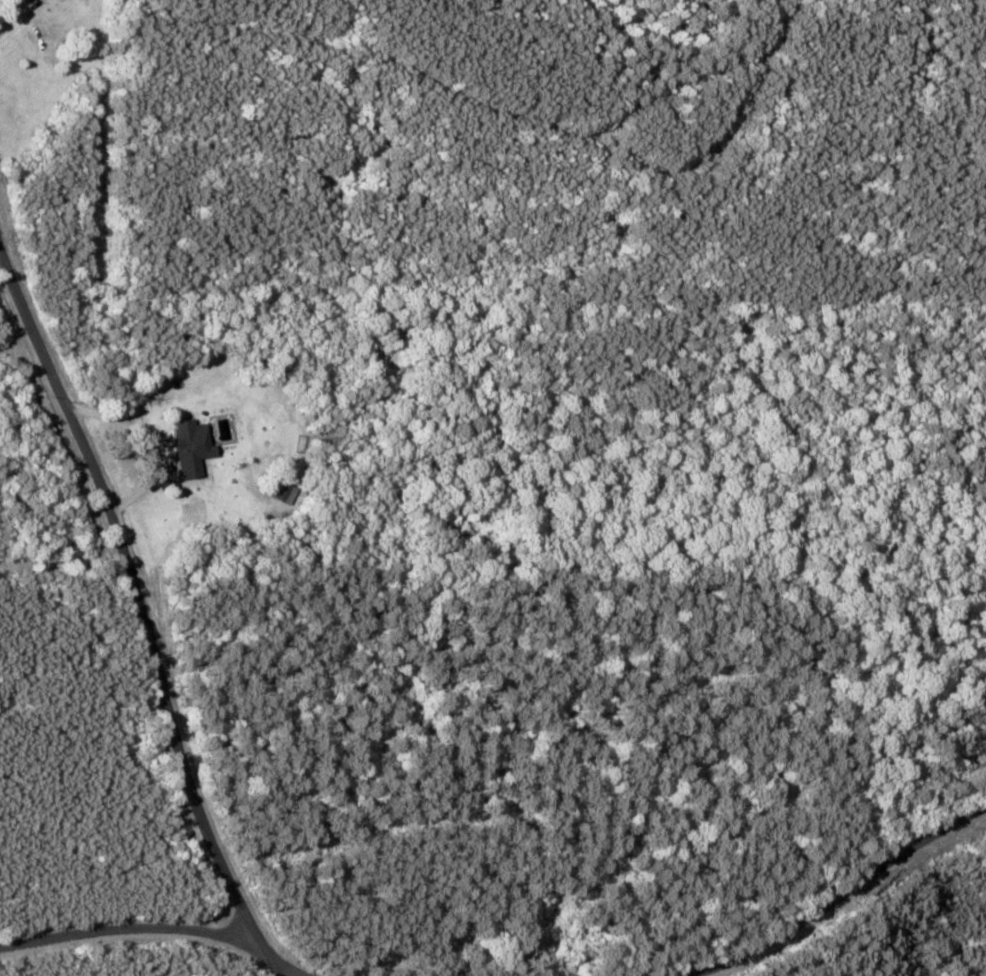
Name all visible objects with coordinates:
building: (194, 441)
road: (127, 583)
road: (881, 924)

